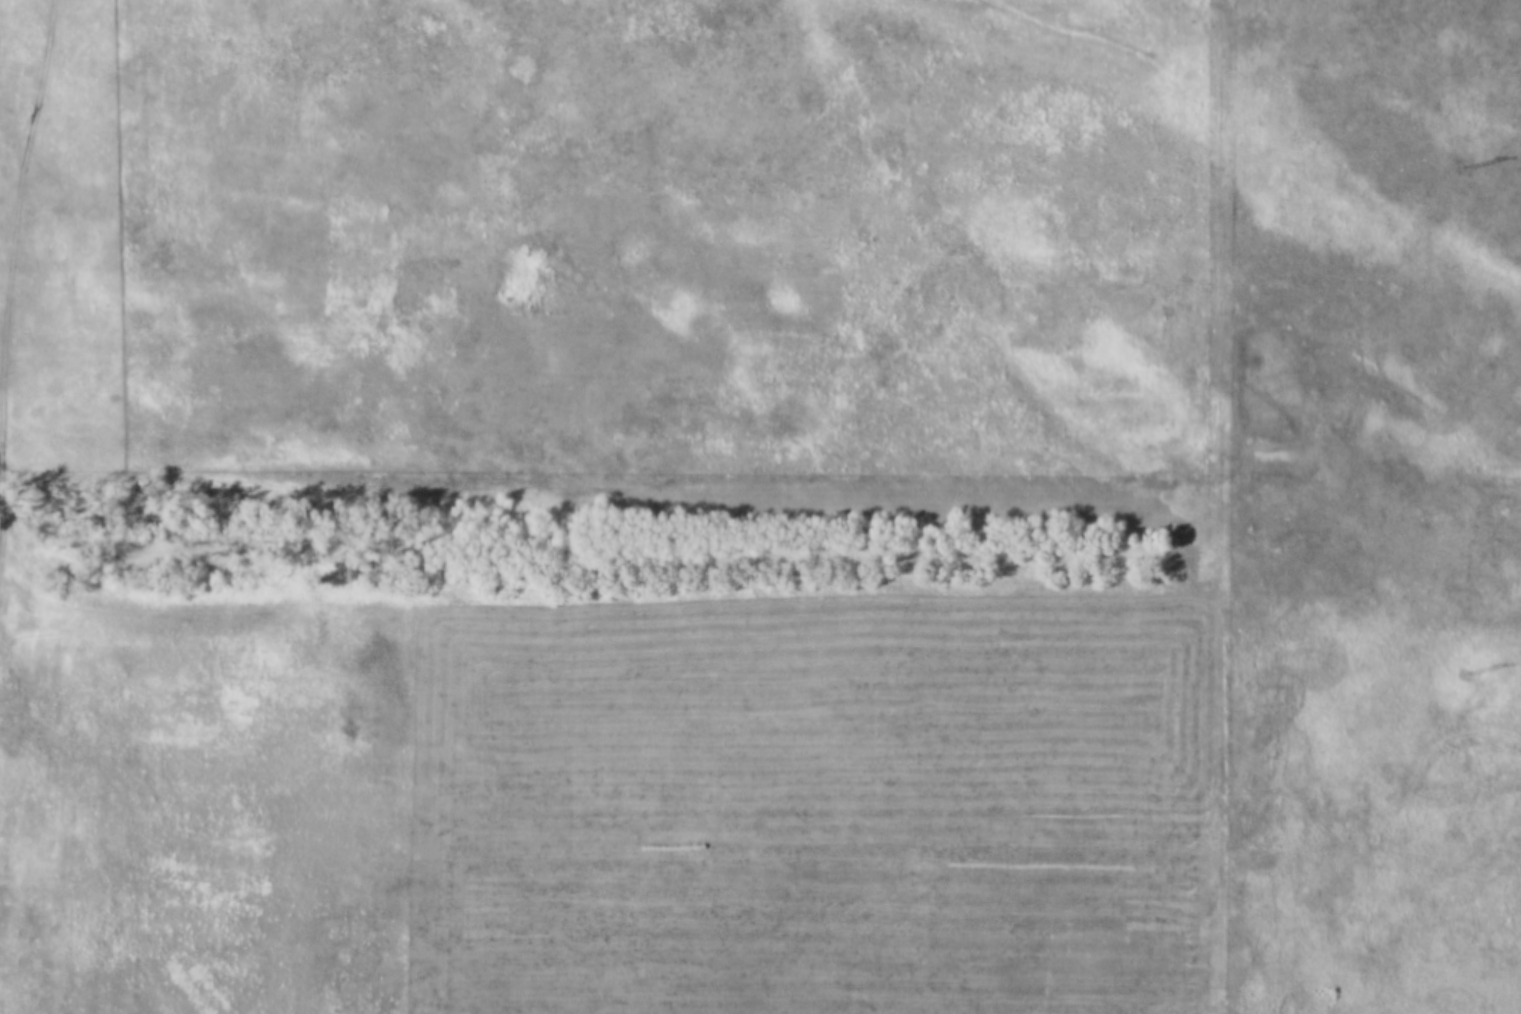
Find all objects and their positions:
power tower: (1467, 168)
power tower: (1468, 673)

